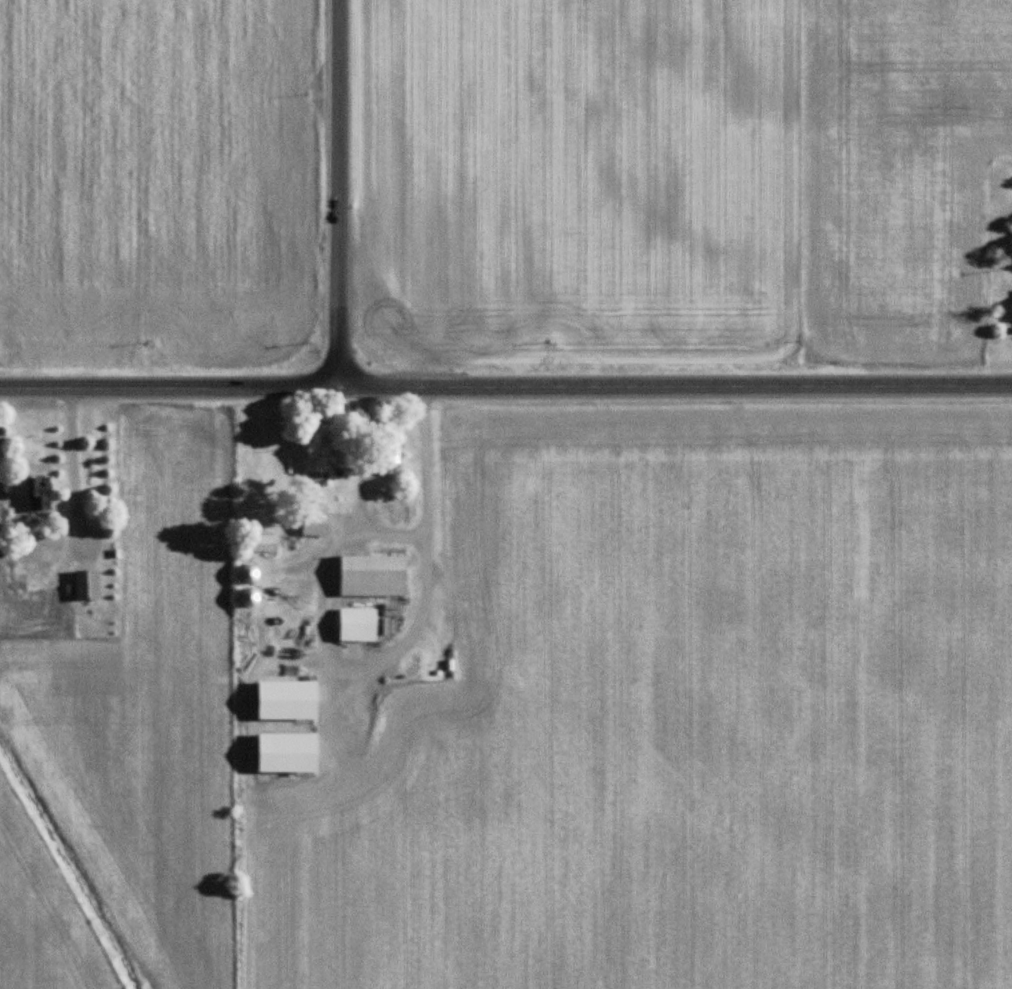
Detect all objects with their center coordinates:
road: (338, 194)
road: (506, 387)
building: (318, 453)
road: (68, 457)
building: (39, 494)
building: (316, 524)
road: (394, 537)
building: (263, 545)
building: (250, 575)
building: (374, 577)
building: (87, 586)
building: (251, 598)
building: (358, 625)
building: (288, 701)

